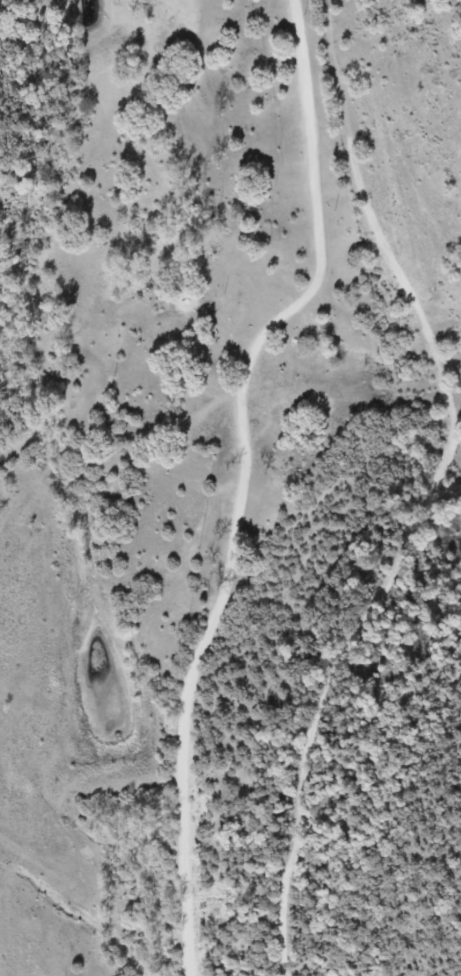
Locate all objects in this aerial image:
road: (34, 159)
road: (20, 788)

